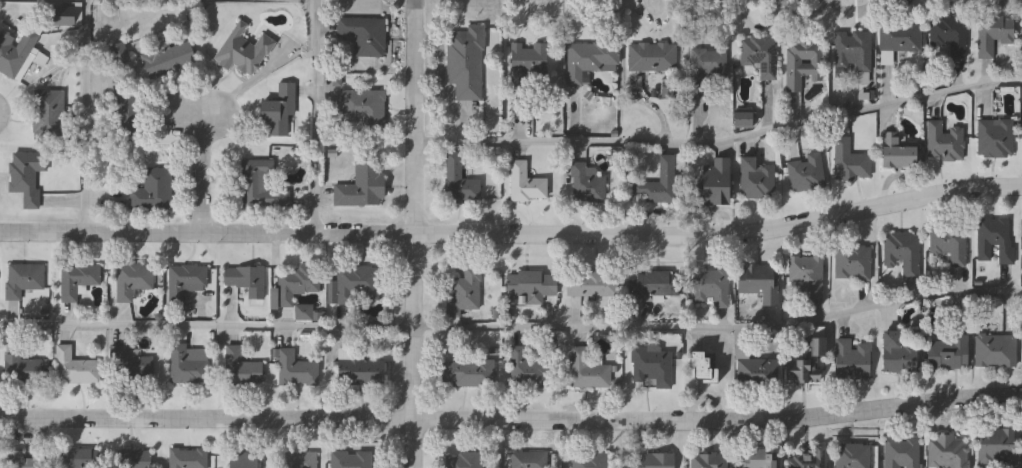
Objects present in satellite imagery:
building: (950, 34)
building: (993, 34)
building: (365, 35)
building: (900, 36)
building: (243, 50)
building: (853, 50)
building: (14, 52)
building: (118, 54)
building: (760, 55)
building: (652, 57)
building: (590, 59)
building: (169, 60)
building: (467, 62)
building: (803, 62)
building: (528, 63)
building: (706, 69)
building: (364, 108)
building: (279, 110)
building: (48, 114)
building: (126, 115)
road: (87, 116)
road: (318, 117)
building: (742, 118)
building: (995, 138)
road: (722, 141)
building: (945, 141)
building: (897, 152)
building: (850, 161)
road: (203, 171)
building: (806, 172)
building: (26, 175)
building: (756, 178)
building: (460, 181)
building: (525, 182)
building: (586, 182)
building: (659, 182)
building: (713, 183)
building: (262, 185)
building: (364, 187)
building: (152, 190)
road: (416, 233)
road: (513, 236)
building: (995, 239)
building: (949, 242)
building: (902, 253)
building: (853, 263)
building: (23, 278)
building: (805, 279)
building: (133, 280)
building: (248, 280)
building: (186, 281)
building: (759, 281)
building: (591, 282)
building: (298, 283)
building: (654, 283)
building: (359, 284)
building: (530, 284)
building: (711, 287)
building: (463, 292)
building: (306, 312)
road: (512, 328)
building: (995, 349)
building: (948, 352)
building: (898, 353)
building: (852, 359)
building: (131, 361)
building: (808, 361)
building: (189, 364)
building: (652, 364)
building: (75, 366)
building: (703, 366)
building: (242, 367)
building: (525, 368)
building: (21, 369)
building: (298, 369)
building: (359, 369)
building: (754, 369)
building: (588, 370)
building: (467, 371)
road: (511, 424)
building: (997, 447)
building: (948, 451)
building: (902, 452)
building: (854, 456)
building: (76, 457)
building: (134, 458)
building: (187, 458)
building: (23, 459)
building: (351, 459)
building: (757, 459)
building: (808, 459)
building: (242, 460)
building: (301, 460)
building: (463, 460)
building: (527, 460)
building: (589, 460)
building: (652, 460)
building: (710, 460)

